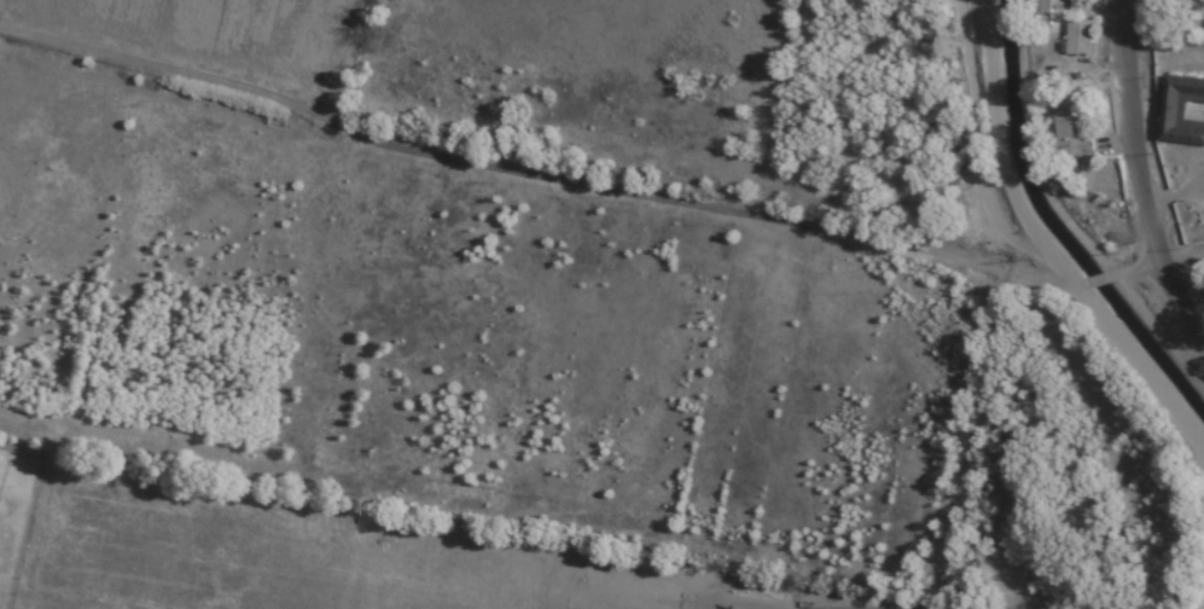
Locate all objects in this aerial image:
building: (1041, 13)
building: (1077, 37)
building: (1180, 110)
building: (1070, 130)
road: (1122, 195)

